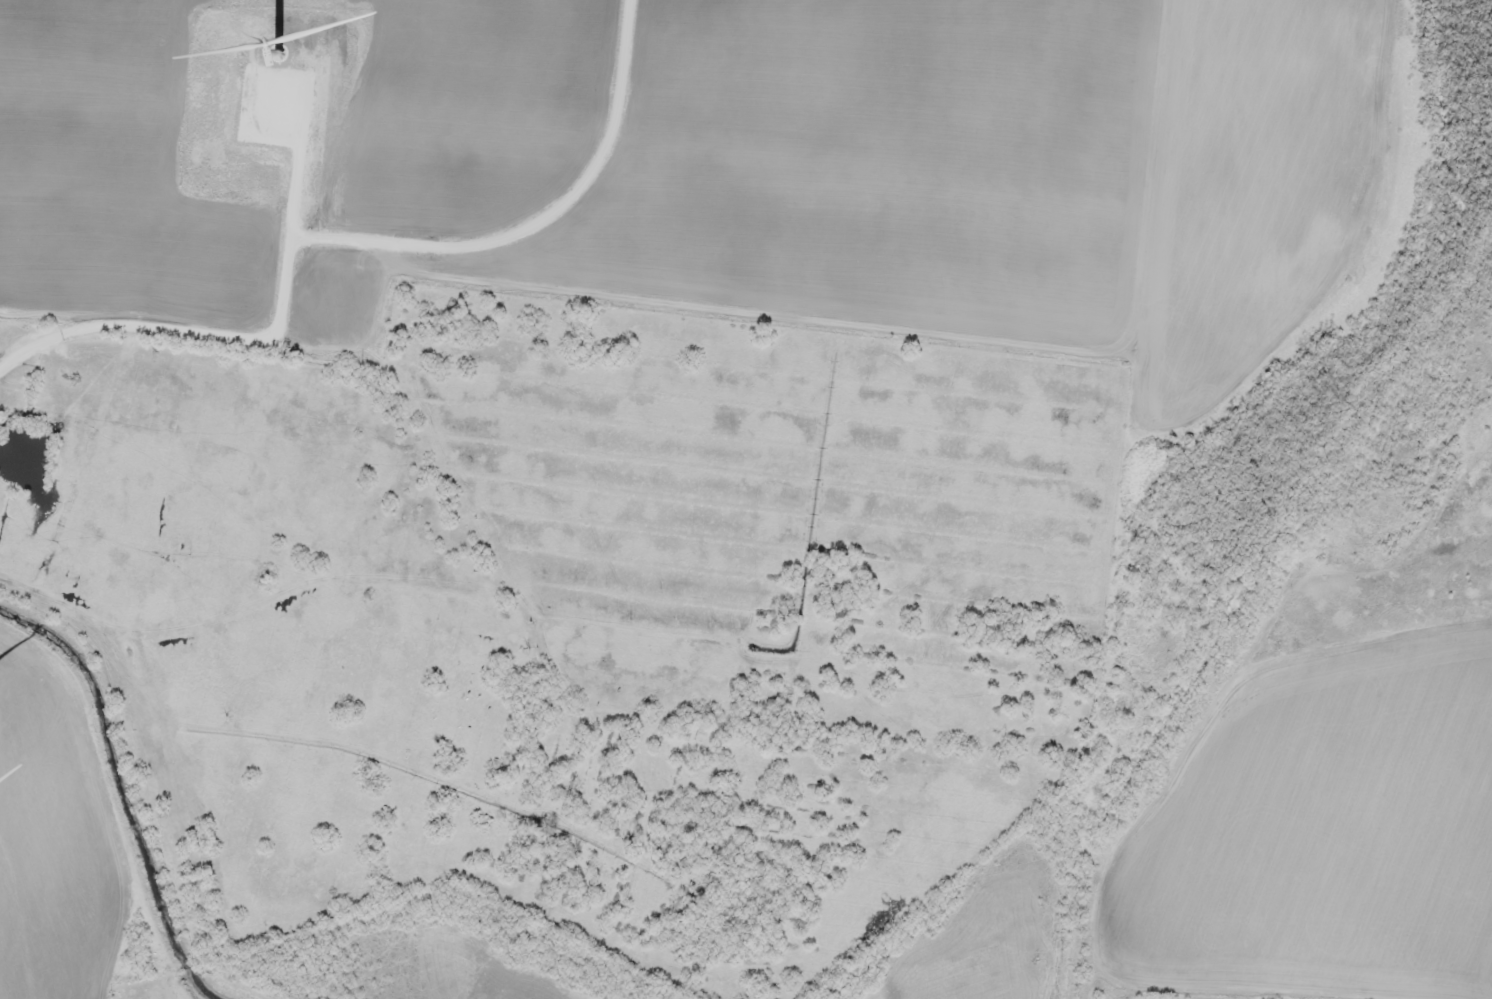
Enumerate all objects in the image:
wind turbine: (275, 40)

